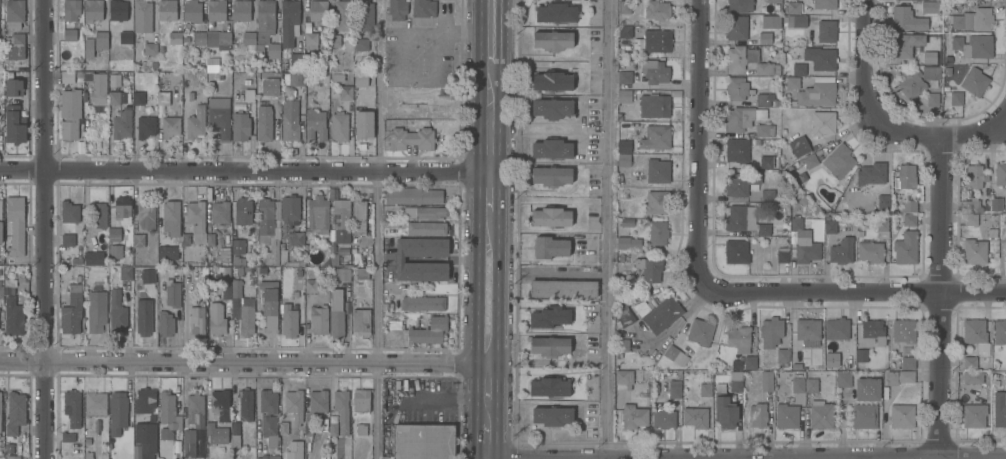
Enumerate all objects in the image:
building: (823, 4)
building: (739, 5)
building: (624, 6)
building: (929, 6)
building: (792, 7)
building: (423, 8)
building: (71, 9)
building: (117, 9)
building: (397, 9)
building: (92, 10)
building: (166, 10)
building: (191, 10)
building: (216, 10)
building: (240, 10)
building: (318, 10)
building: (656, 10)
building: (555, 12)
building: (14, 13)
building: (363, 14)
building: (342, 15)
building: (907, 18)
building: (971, 19)
building: (142, 20)
building: (794, 20)
building: (288, 21)
building: (769, 22)
building: (736, 27)
building: (265, 28)
building: (826, 30)
road: (487, 31)
building: (624, 31)
building: (69, 34)
building: (125, 37)
building: (174, 37)
building: (248, 37)
building: (764, 38)
building: (212, 39)
building: (100, 40)
building: (310, 40)
building: (551, 40)
building: (656, 40)
building: (332, 41)
building: (361, 44)
building: (904, 44)
building: (972, 45)
building: (14, 46)
building: (87, 48)
building: (150, 48)
building: (161, 49)
building: (752, 54)
building: (928, 57)
building: (735, 58)
building: (820, 58)
building: (296, 59)
building: (151, 63)
building: (210, 65)
building: (0, 66)
building: (766, 68)
building: (798, 69)
building: (654, 71)
building: (930, 72)
building: (85, 75)
building: (67, 76)
building: (218, 77)
building: (337, 77)
building: (624, 77)
building: (295, 79)
building: (551, 80)
building: (910, 81)
building: (973, 81)
building: (791, 82)
building: (269, 87)
building: (12, 88)
building: (98, 88)
building: (736, 88)
building: (345, 91)
building: (138, 93)
building: (815, 94)
building: (190, 95)
building: (248, 95)
road: (865, 95)
building: (623, 96)
building: (113, 97)
building: (162, 97)
building: (955, 98)
building: (762, 99)
building: (932, 99)
building: (654, 105)
building: (551, 108)
building: (70, 113)
building: (219, 115)
road: (487, 116)
building: (742, 117)
building: (289, 120)
building: (195, 122)
building: (822, 122)
building: (263, 123)
building: (121, 124)
building: (315, 124)
building: (362, 124)
building: (145, 126)
building: (170, 126)
building: (239, 126)
building: (340, 127)
building: (13, 128)
building: (764, 130)
building: (655, 137)
building: (410, 138)
road: (975, 138)
road: (698, 142)
building: (623, 146)
building: (798, 146)
building: (551, 148)
building: (736, 149)
building: (623, 159)
building: (809, 160)
building: (839, 160)
building: (766, 161)
road: (243, 170)
building: (657, 171)
building: (871, 173)
building: (1000, 174)
building: (550, 175)
building: (904, 176)
building: (973, 176)
building: (741, 182)
building: (767, 194)
building: (412, 195)
building: (778, 197)
building: (883, 200)
building: (656, 202)
building: (996, 203)
building: (909, 205)
building: (972, 205)
building: (289, 209)
building: (122, 210)
building: (242, 211)
building: (69, 212)
building: (219, 212)
building: (422, 212)
building: (317, 214)
building: (100, 215)
building: (146, 215)
building: (170, 215)
building: (195, 215)
building: (340, 216)
building: (358, 216)
building: (550, 216)
building: (735, 217)
road: (487, 219)
building: (908, 219)
building: (970, 219)
building: (0, 221)
building: (626, 222)
building: (795, 223)
building: (881, 223)
building: (15, 224)
building: (829, 226)
building: (426, 227)
building: (267, 228)
road: (42, 229)
road: (374, 229)
road: (609, 229)
building: (763, 229)
building: (657, 232)
building: (991, 232)
building: (114, 234)
building: (68, 239)
building: (185, 239)
building: (210, 239)
building: (138, 240)
building: (627, 242)
building: (237, 246)
building: (291, 247)
building: (549, 247)
building: (905, 247)
building: (805, 249)
building: (840, 250)
building: (115, 251)
building: (735, 251)
building: (870, 251)
building: (974, 251)
building: (1005, 251)
building: (162, 252)
building: (223, 254)
building: (782, 255)
building: (91, 258)
building: (399, 259)
building: (77, 260)
building: (238, 260)
building: (648, 268)
building: (226, 270)
building: (262, 270)
building: (239, 271)
building: (125, 272)
building: (361, 272)
building: (342, 273)
building: (146, 276)
road: (566, 276)
building: (310, 285)
building: (236, 288)
building: (562, 288)
building: (0, 289)
building: (8, 289)
building: (226, 290)
building: (283, 292)
road: (855, 292)
building: (172, 293)
building: (299, 293)
road: (937, 297)
building: (269, 303)
building: (422, 303)
building: (71, 310)
building: (95, 311)
building: (116, 311)
building: (336, 313)
building: (658, 313)
road: (485, 315)
building: (143, 316)
building: (548, 316)
building: (13, 317)
building: (624, 317)
building: (244, 318)
building: (318, 318)
building: (196, 319)
building: (216, 319)
building: (289, 320)
building: (360, 321)
building: (165, 323)
building: (806, 329)
building: (836, 329)
building: (873, 330)
building: (903, 330)
building: (428, 331)
building: (699, 331)
building: (770, 331)
building: (1000, 331)
building: (975, 334)
building: (738, 336)
building: (549, 345)
building: (621, 345)
building: (670, 351)
building: (861, 355)
building: (781, 357)
building: (849, 357)
road: (242, 361)
building: (749, 362)
building: (969, 362)
building: (907, 363)
building: (738, 365)
building: (906, 376)
building: (891, 377)
building: (972, 377)
building: (623, 379)
building: (843, 379)
building: (766, 380)
road: (484, 383)
building: (996, 383)
building: (735, 384)
building: (810, 384)
building: (797, 385)
building: (549, 386)
building: (674, 388)
building: (704, 389)
building: (866, 389)
building: (145, 400)
building: (293, 400)
building: (318, 400)
building: (361, 400)
building: (268, 401)
road: (445, 402)
building: (95, 403)
building: (220, 403)
building: (245, 403)
building: (72, 407)
building: (723, 407)
building: (999, 408)
building: (194, 409)
building: (341, 409)
building: (15, 412)
building: (117, 412)
building: (757, 414)
building: (820, 414)
building: (166, 415)
road: (484, 415)
building: (551, 415)
building: (901, 415)
building: (973, 415)
building: (633, 416)
building: (786, 416)
building: (863, 416)
building: (694, 417)
building: (143, 418)
building: (663, 418)
building: (268, 425)
building: (210, 427)
building: (283, 427)
building: (308, 428)
building: (333, 429)
building: (361, 429)
building: (235, 434)
building: (67, 436)
building: (149, 438)
building: (422, 441)
building: (188, 443)
road: (484, 443)
building: (9, 448)
building: (88, 455)
building: (262, 456)
building: (13, 457)
building: (273, 457)
road: (646, 458)
road: (745, 458)

